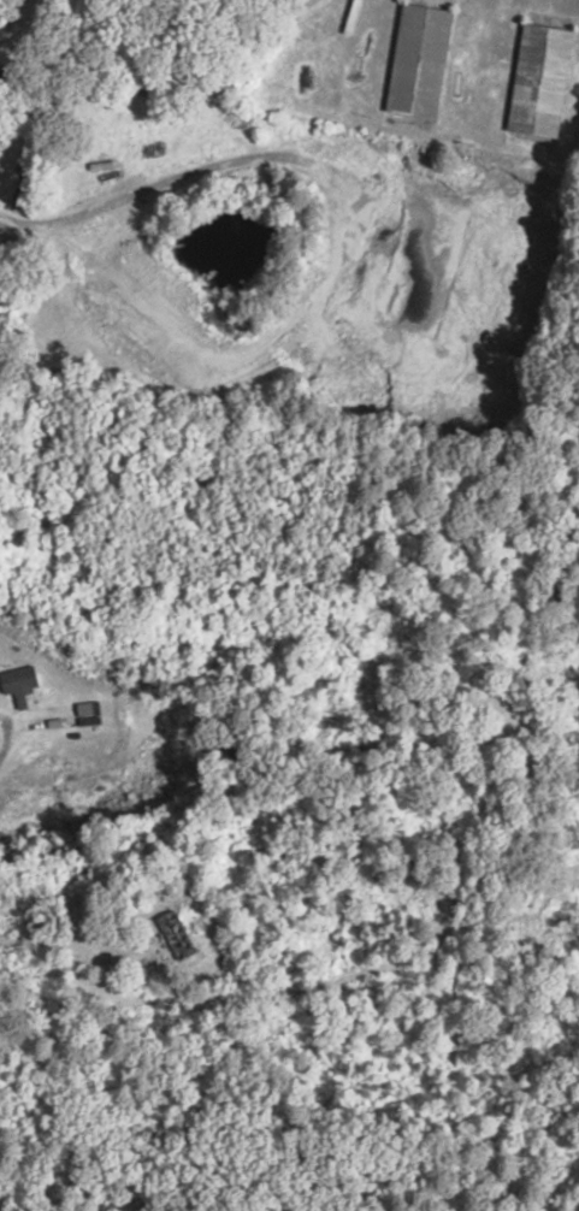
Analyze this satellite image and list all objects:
building: (415, 61)
building: (536, 79)

